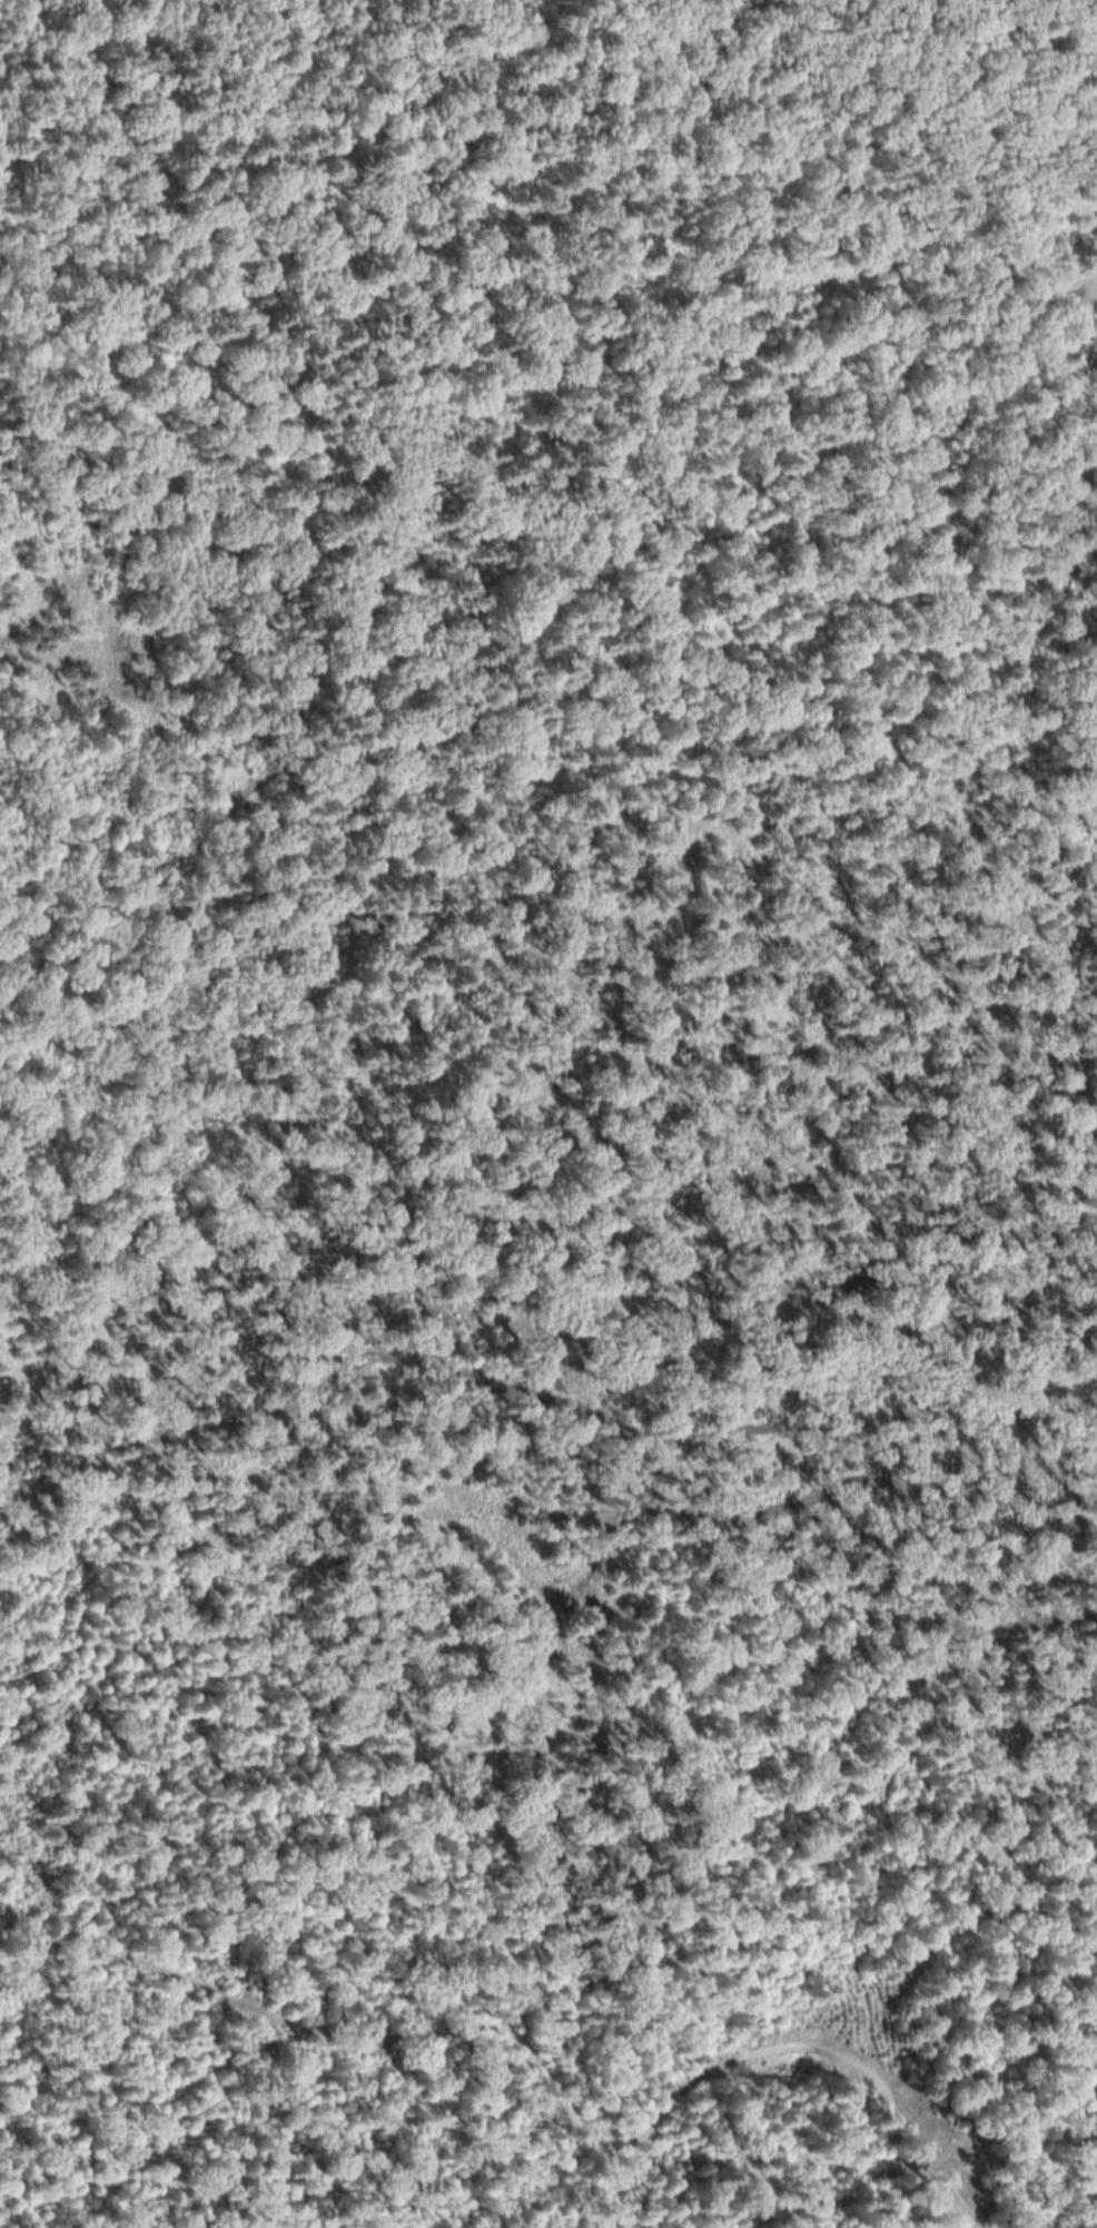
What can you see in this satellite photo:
road: (856, 190)
road: (974, 379)
road: (563, 523)
road: (284, 868)
road: (192, 1978)
road: (701, 2076)

